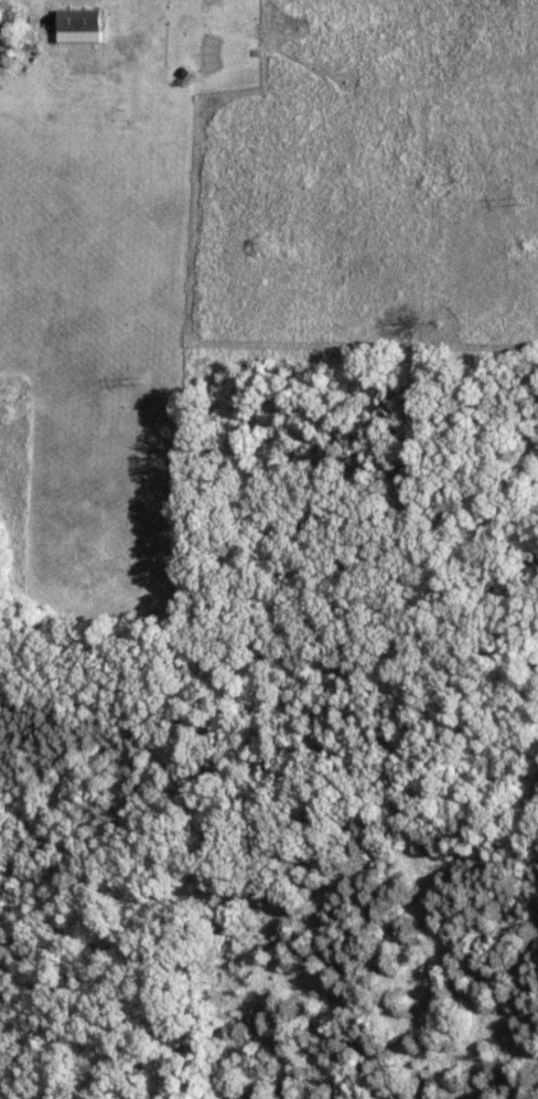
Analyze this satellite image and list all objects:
building: (84, 21)
building: (90, 58)
power tower: (523, 199)
power tower: (141, 381)

